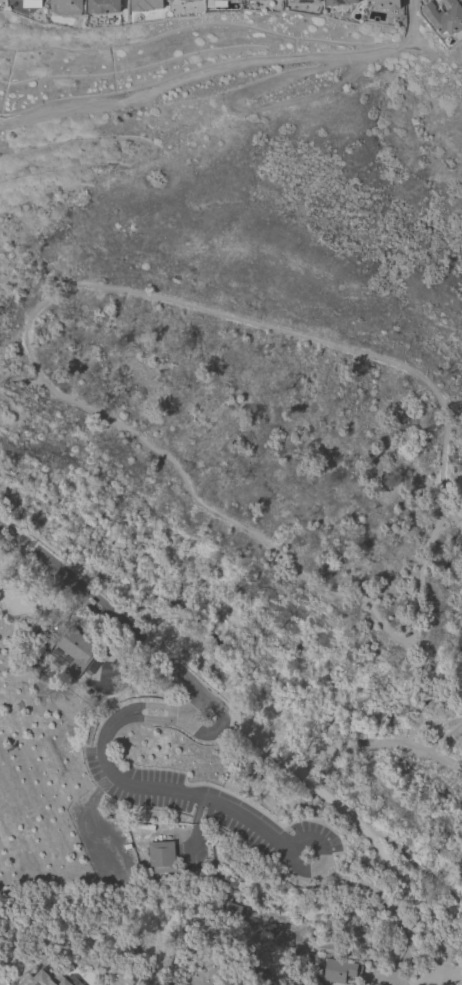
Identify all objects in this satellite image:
building: (40, 0)
building: (226, 0)
building: (264, 0)
building: (304, 0)
building: (461, 0)
building: (338, 2)
building: (217, 3)
building: (387, 3)
building: (146, 4)
building: (65, 5)
building: (103, 5)
building: (444, 15)
road: (410, 21)
road: (271, 328)
road: (20, 377)
road: (11, 407)
road: (232, 522)
road: (36, 551)
road: (418, 575)
road: (92, 593)
building: (92, 600)
road: (85, 602)
road: (125, 610)
building: (76, 651)
road: (159, 654)
road: (416, 694)
road: (420, 703)
road: (160, 706)
road: (159, 718)
road: (429, 721)
road: (220, 723)
road: (109, 726)
road: (451, 730)
road: (340, 746)
road: (450, 747)
road: (238, 769)
road: (192, 796)
road: (341, 808)
road: (311, 811)
parking lot: (215, 812)
road: (195, 827)
road: (322, 853)
building: (160, 856)
road: (388, 904)
building: (337, 968)
road: (384, 976)
building: (49, 979)

